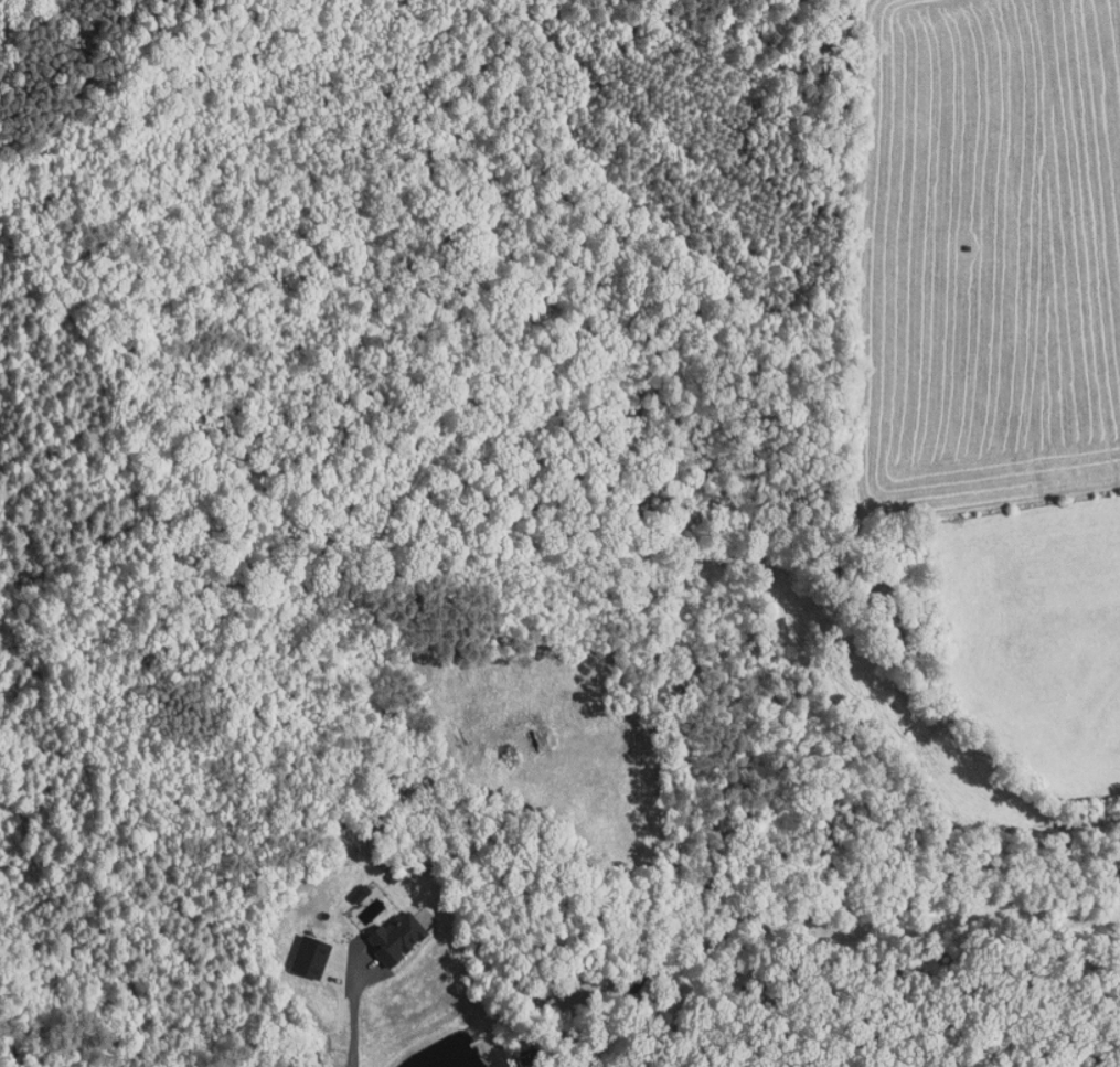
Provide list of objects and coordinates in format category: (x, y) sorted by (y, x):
building: (346, 886)
building: (383, 930)
building: (297, 950)
road: (354, 1016)

